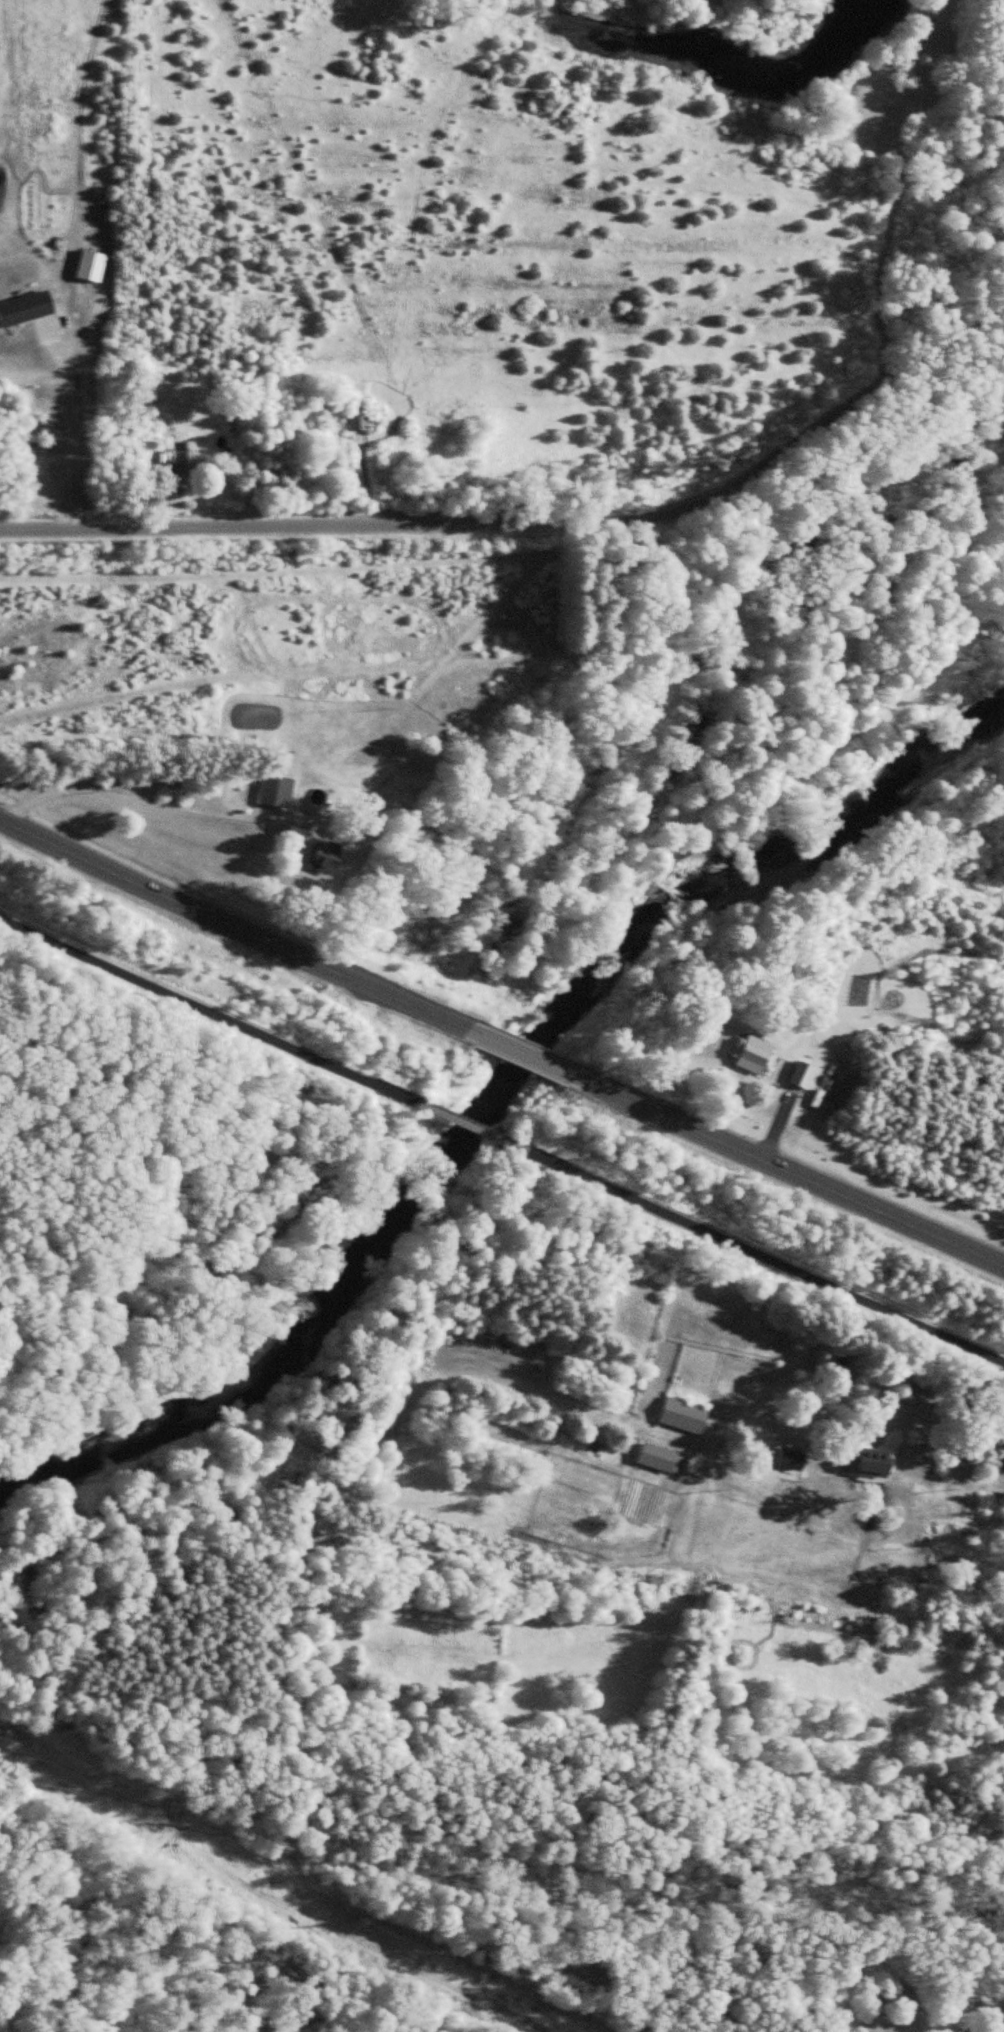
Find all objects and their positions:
building: (358, 421)
building: (191, 461)
road: (499, 525)
building: (279, 791)
building: (329, 858)
road: (240, 927)
road: (207, 1013)
building: (755, 1055)
road: (534, 1060)
building: (803, 1076)
river: (505, 1106)
road: (472, 1126)
road: (796, 1174)
road: (765, 1257)
building: (685, 1417)
building: (655, 1456)
building: (840, 1460)
building: (794, 1462)
building: (876, 1464)
power tower: (350, 1915)

